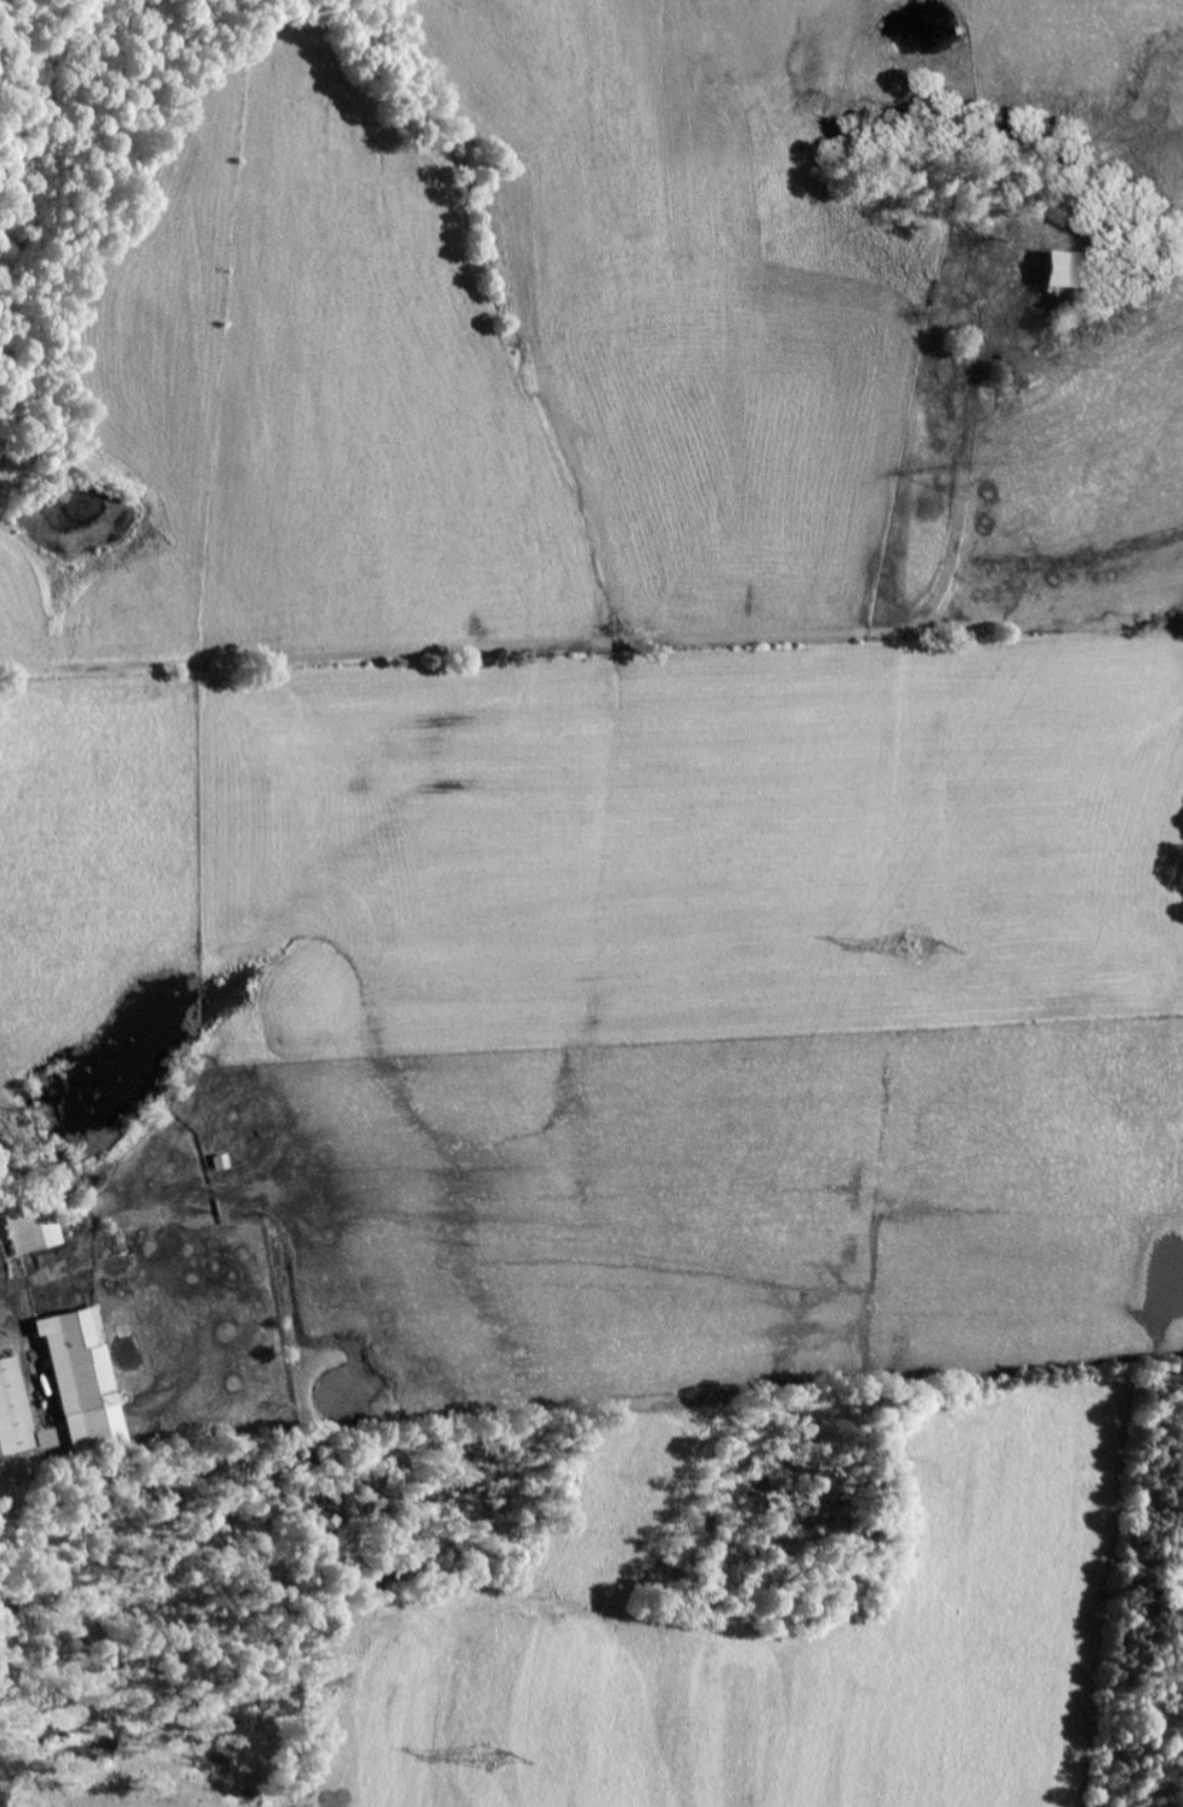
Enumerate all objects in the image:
building: (1051, 271)
road: (459, 652)
power tower: (914, 948)
road: (631, 974)
building: (224, 1163)
building: (36, 1231)
building: (87, 1379)
building: (19, 1415)
power tower: (487, 1762)

